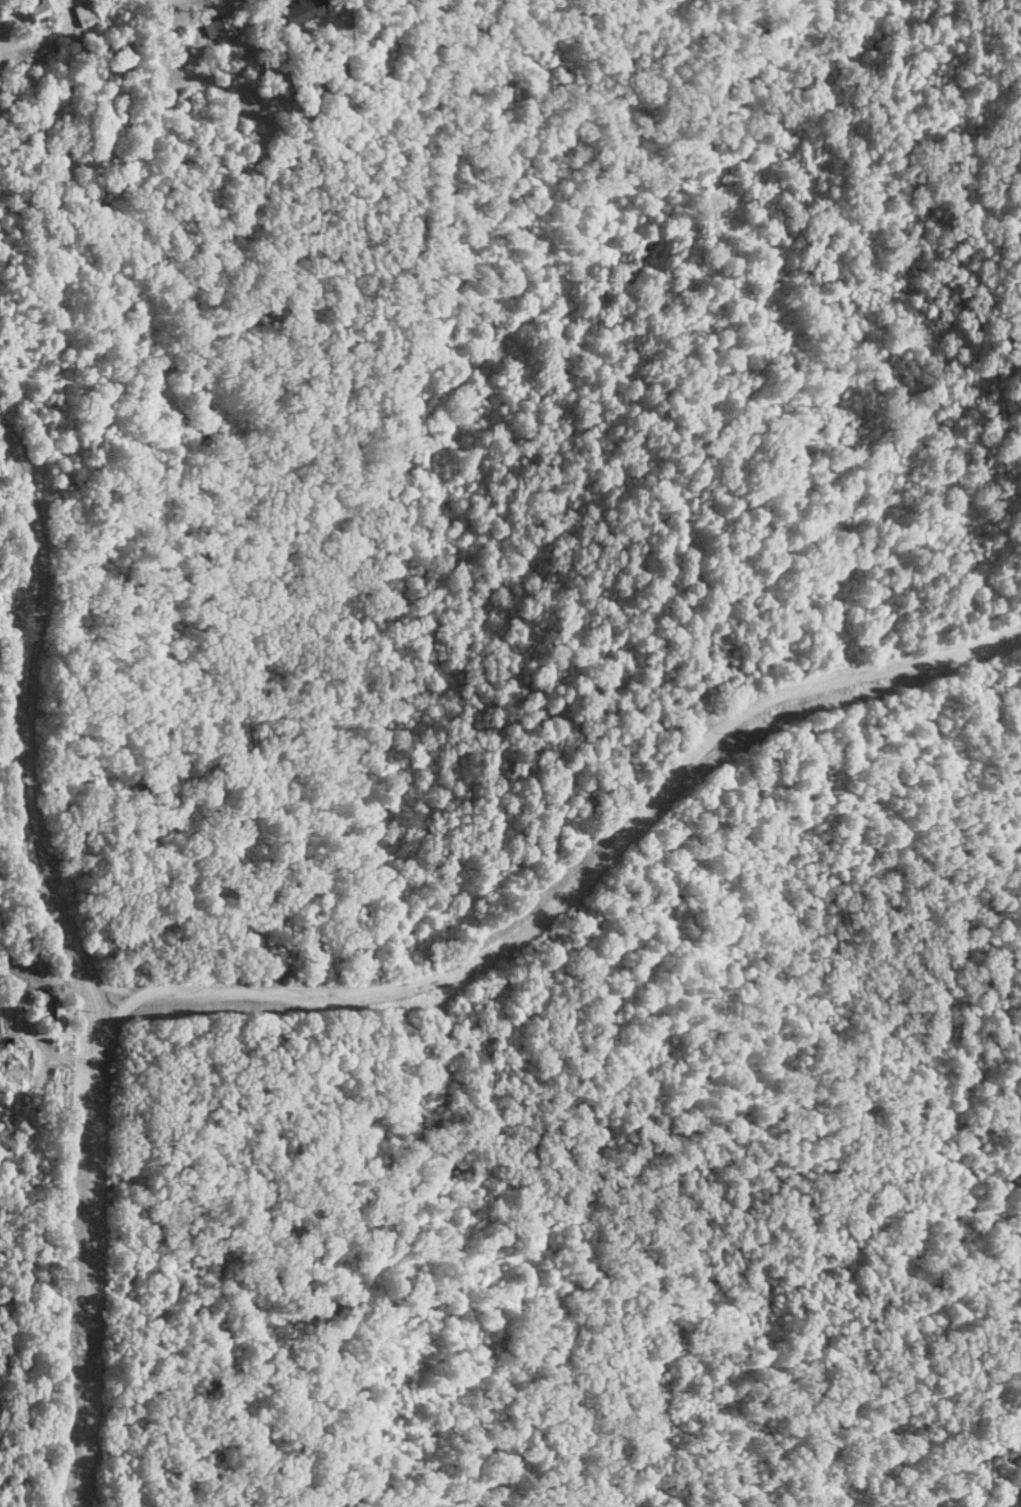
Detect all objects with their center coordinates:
building: (306, 9)
building: (218, 28)
road: (162, 994)
road: (75, 1256)

